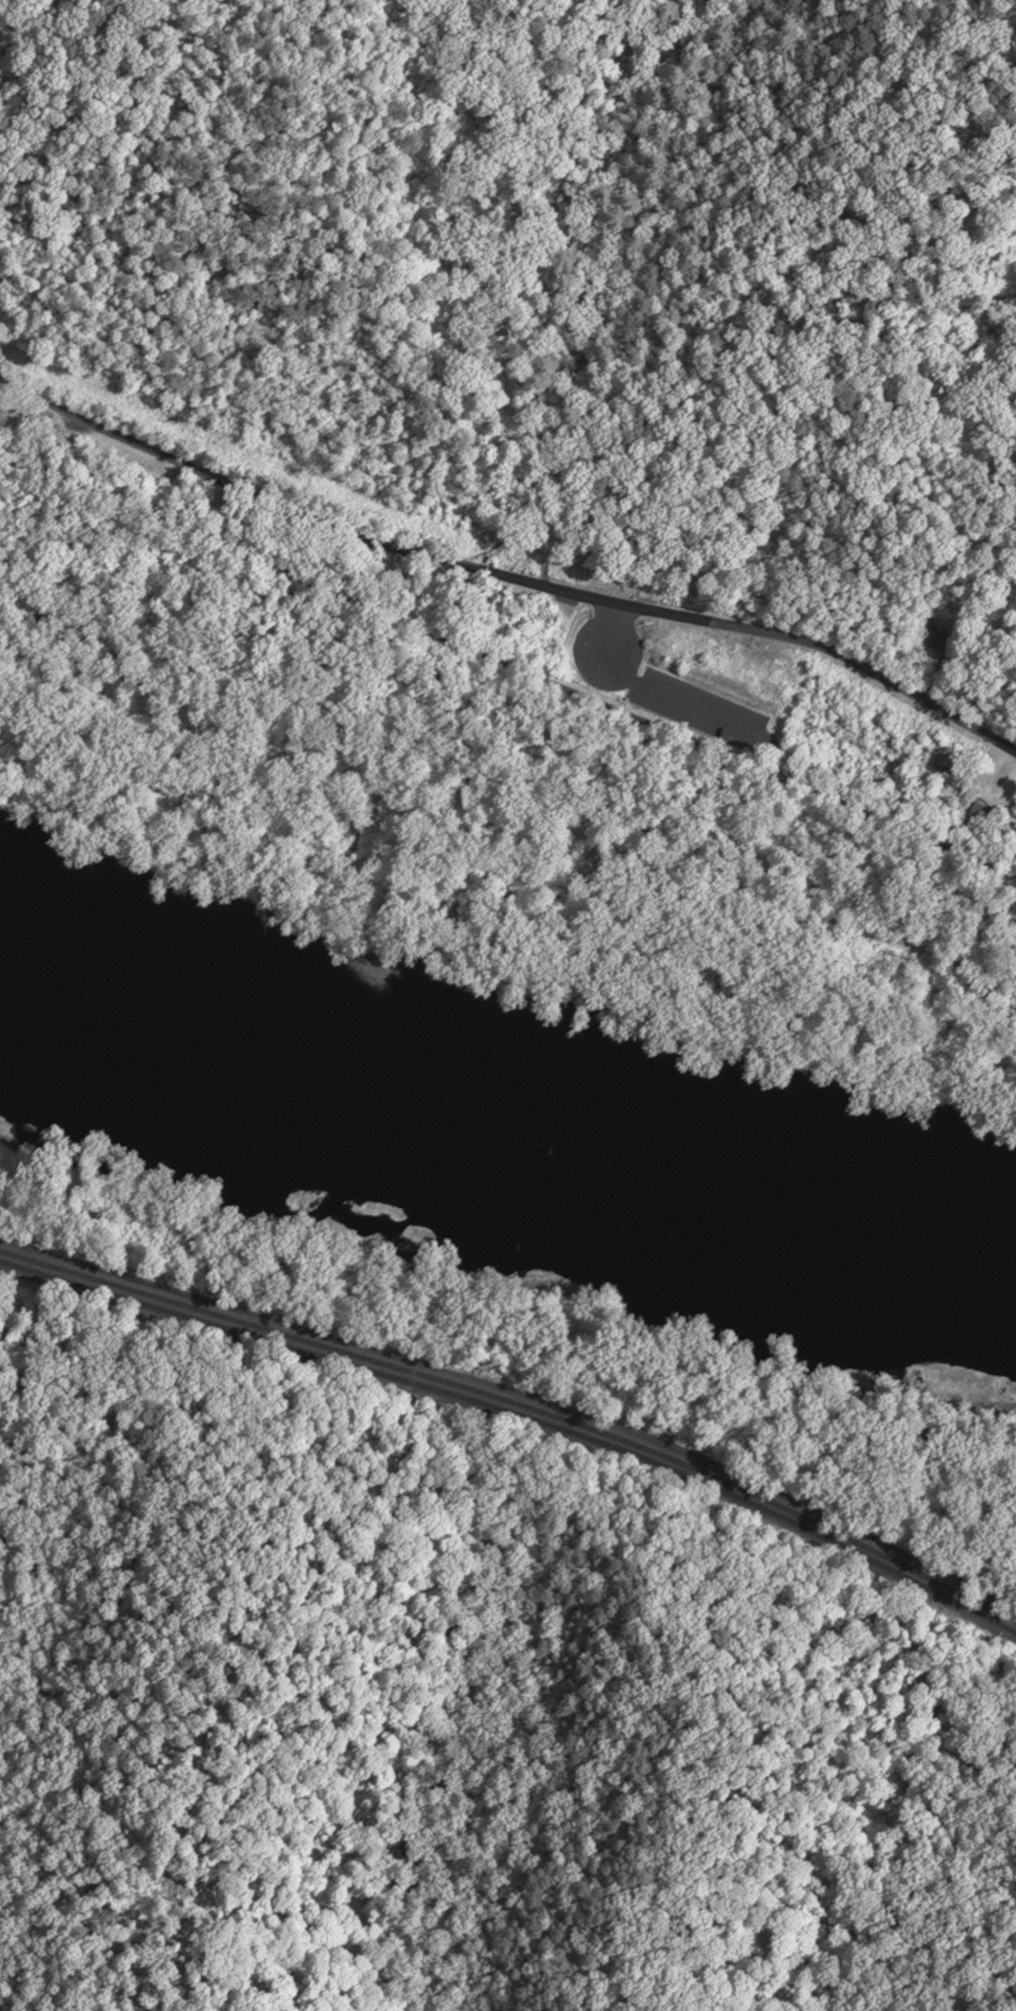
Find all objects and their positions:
building: (39, 420)
road: (505, 575)
road: (507, 665)
park: (538, 683)
road: (656, 691)
parking lot: (701, 710)
road: (777, 751)
road: (508, 808)
river: (503, 1128)
road: (519, 1398)
railway: (519, 1405)
railway: (519, 1416)

